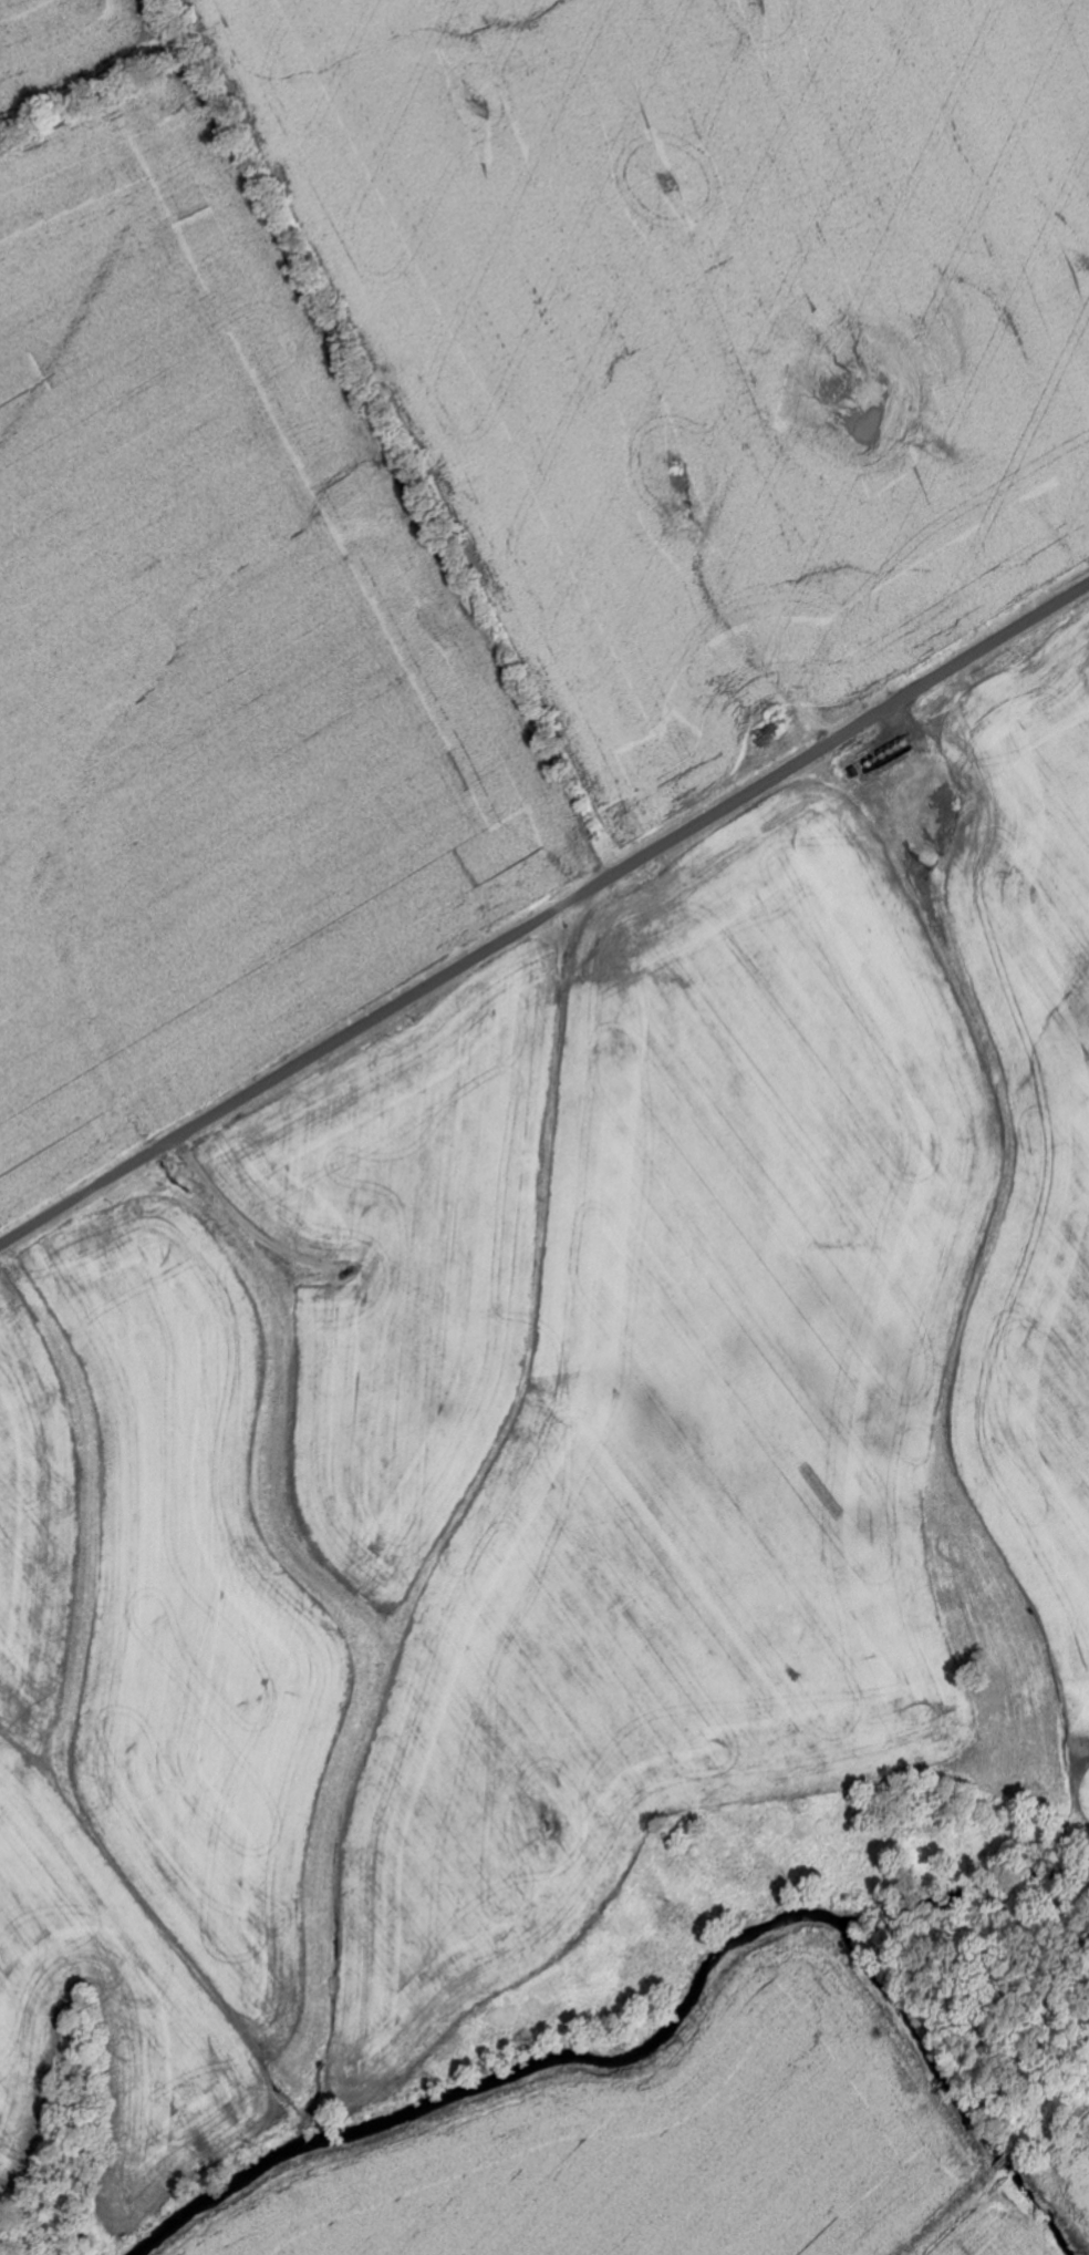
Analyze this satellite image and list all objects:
road: (544, 918)

